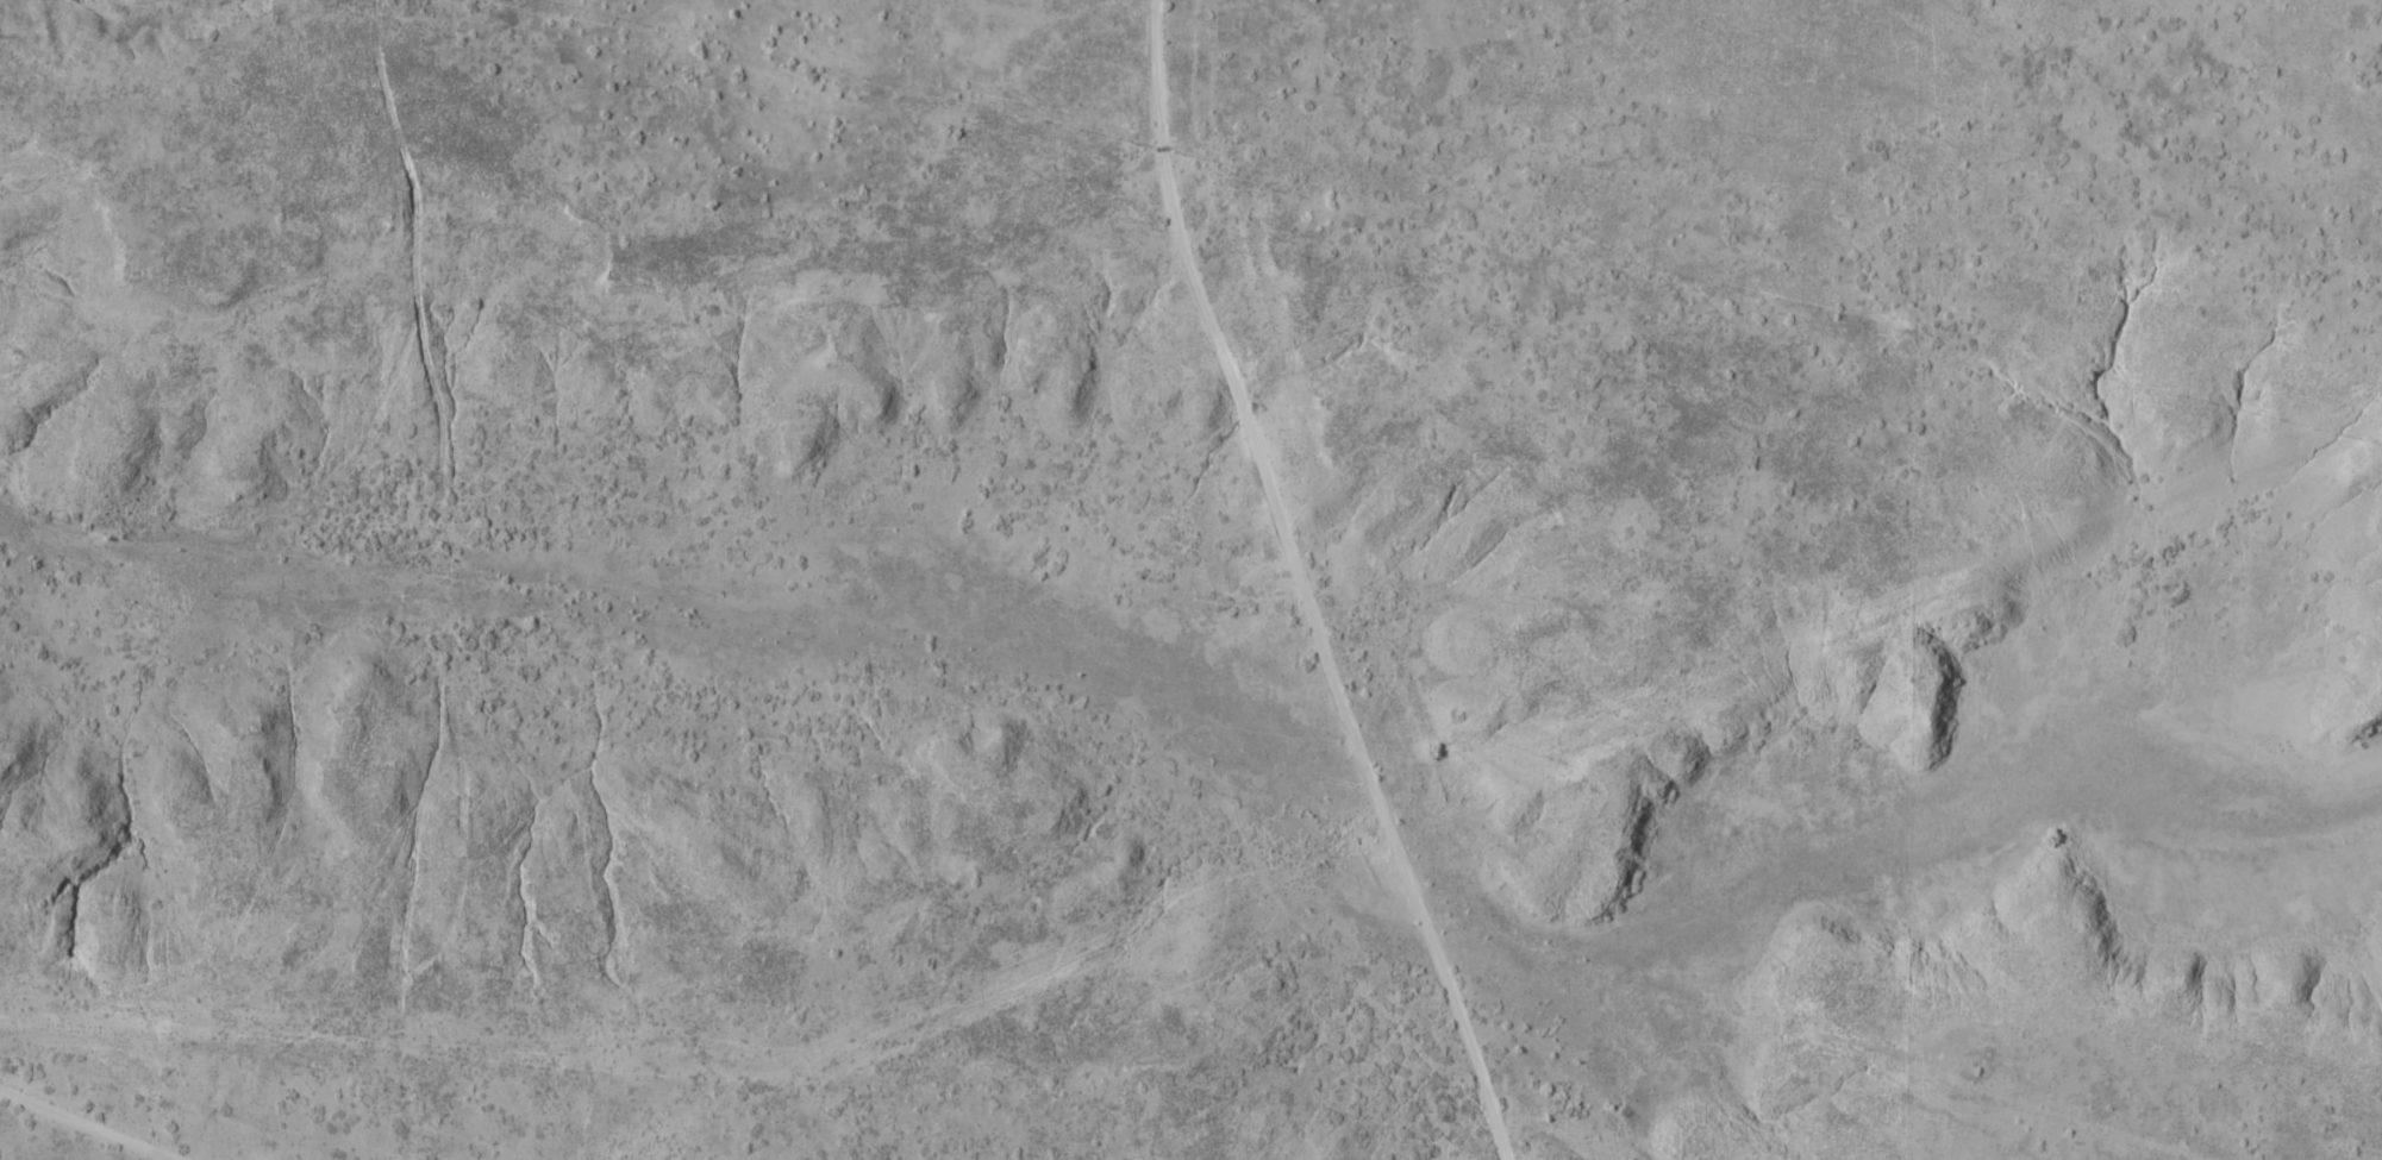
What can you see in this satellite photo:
road: (1305, 587)
road: (100, 1118)

